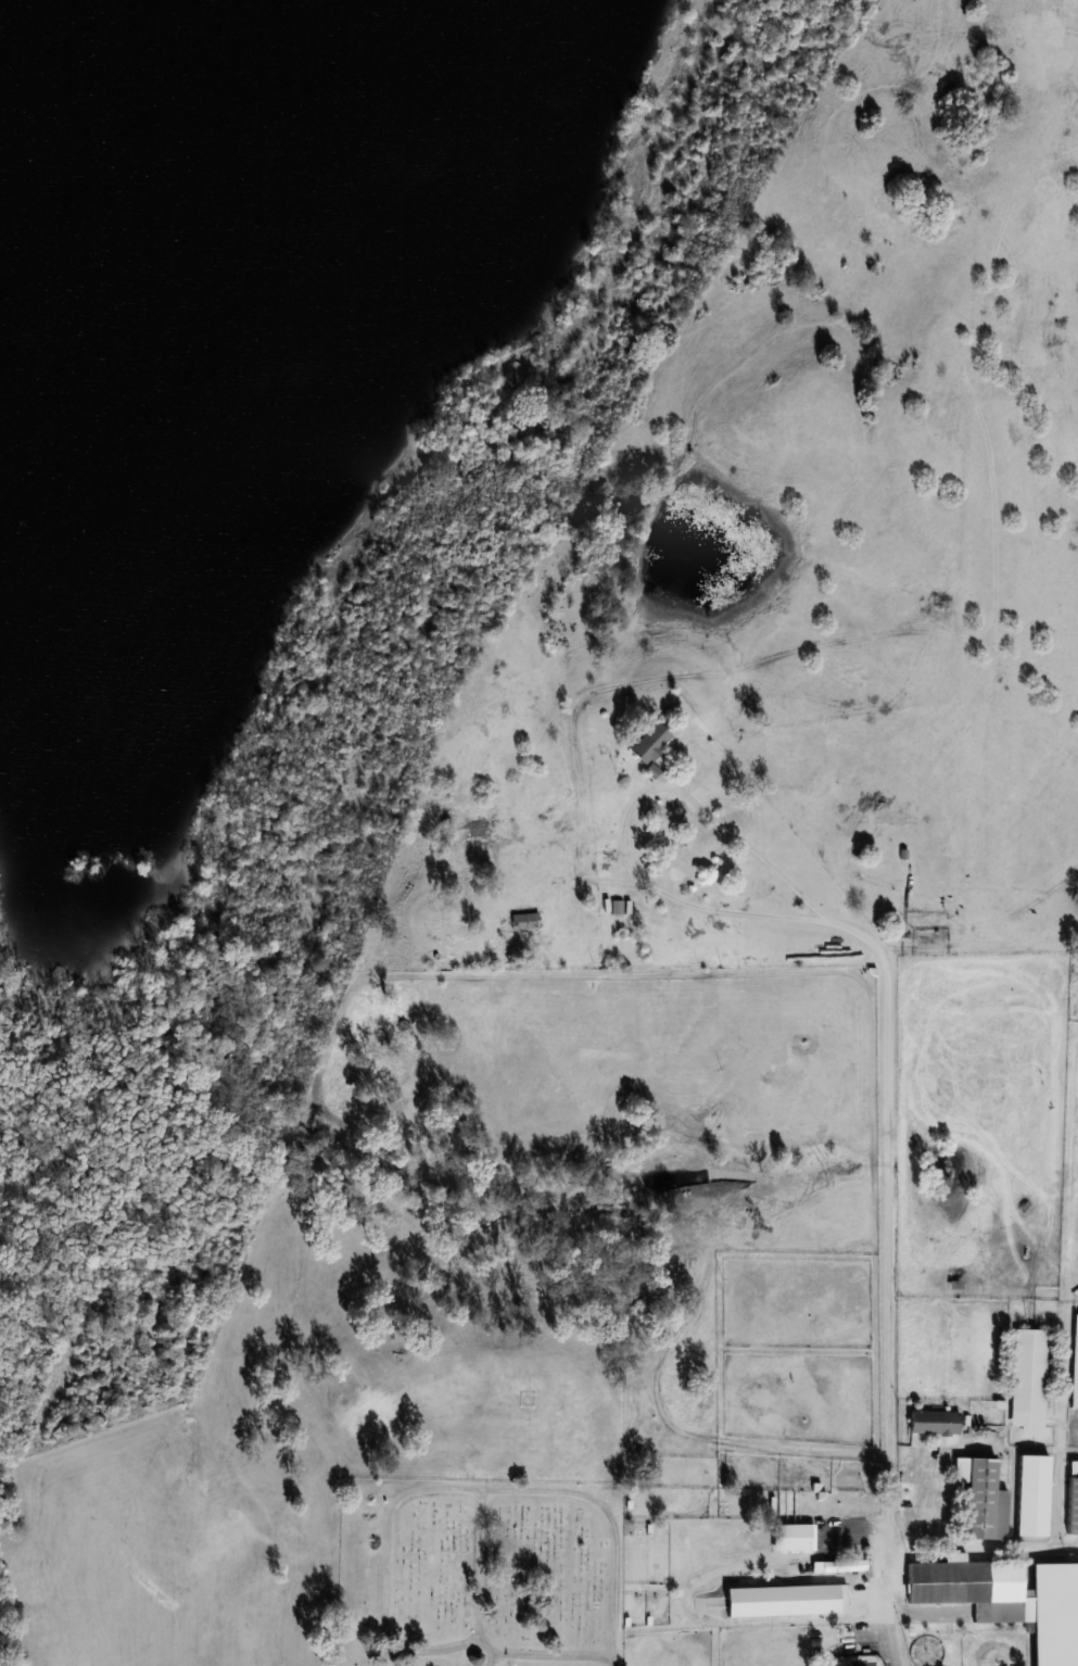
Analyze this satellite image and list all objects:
building: (183, 206)
building: (649, 743)
road: (733, 835)
building: (616, 908)
building: (453, 919)
building: (523, 921)
road: (887, 1139)
building: (1075, 1363)
building: (1028, 1380)
building: (934, 1423)
building: (1032, 1495)
building: (981, 1499)
building: (1073, 1499)
building: (792, 1537)
road: (979, 1544)
building: (838, 1566)
park: (480, 1574)
road: (689, 1596)
building: (1007, 1599)
building: (786, 1601)

